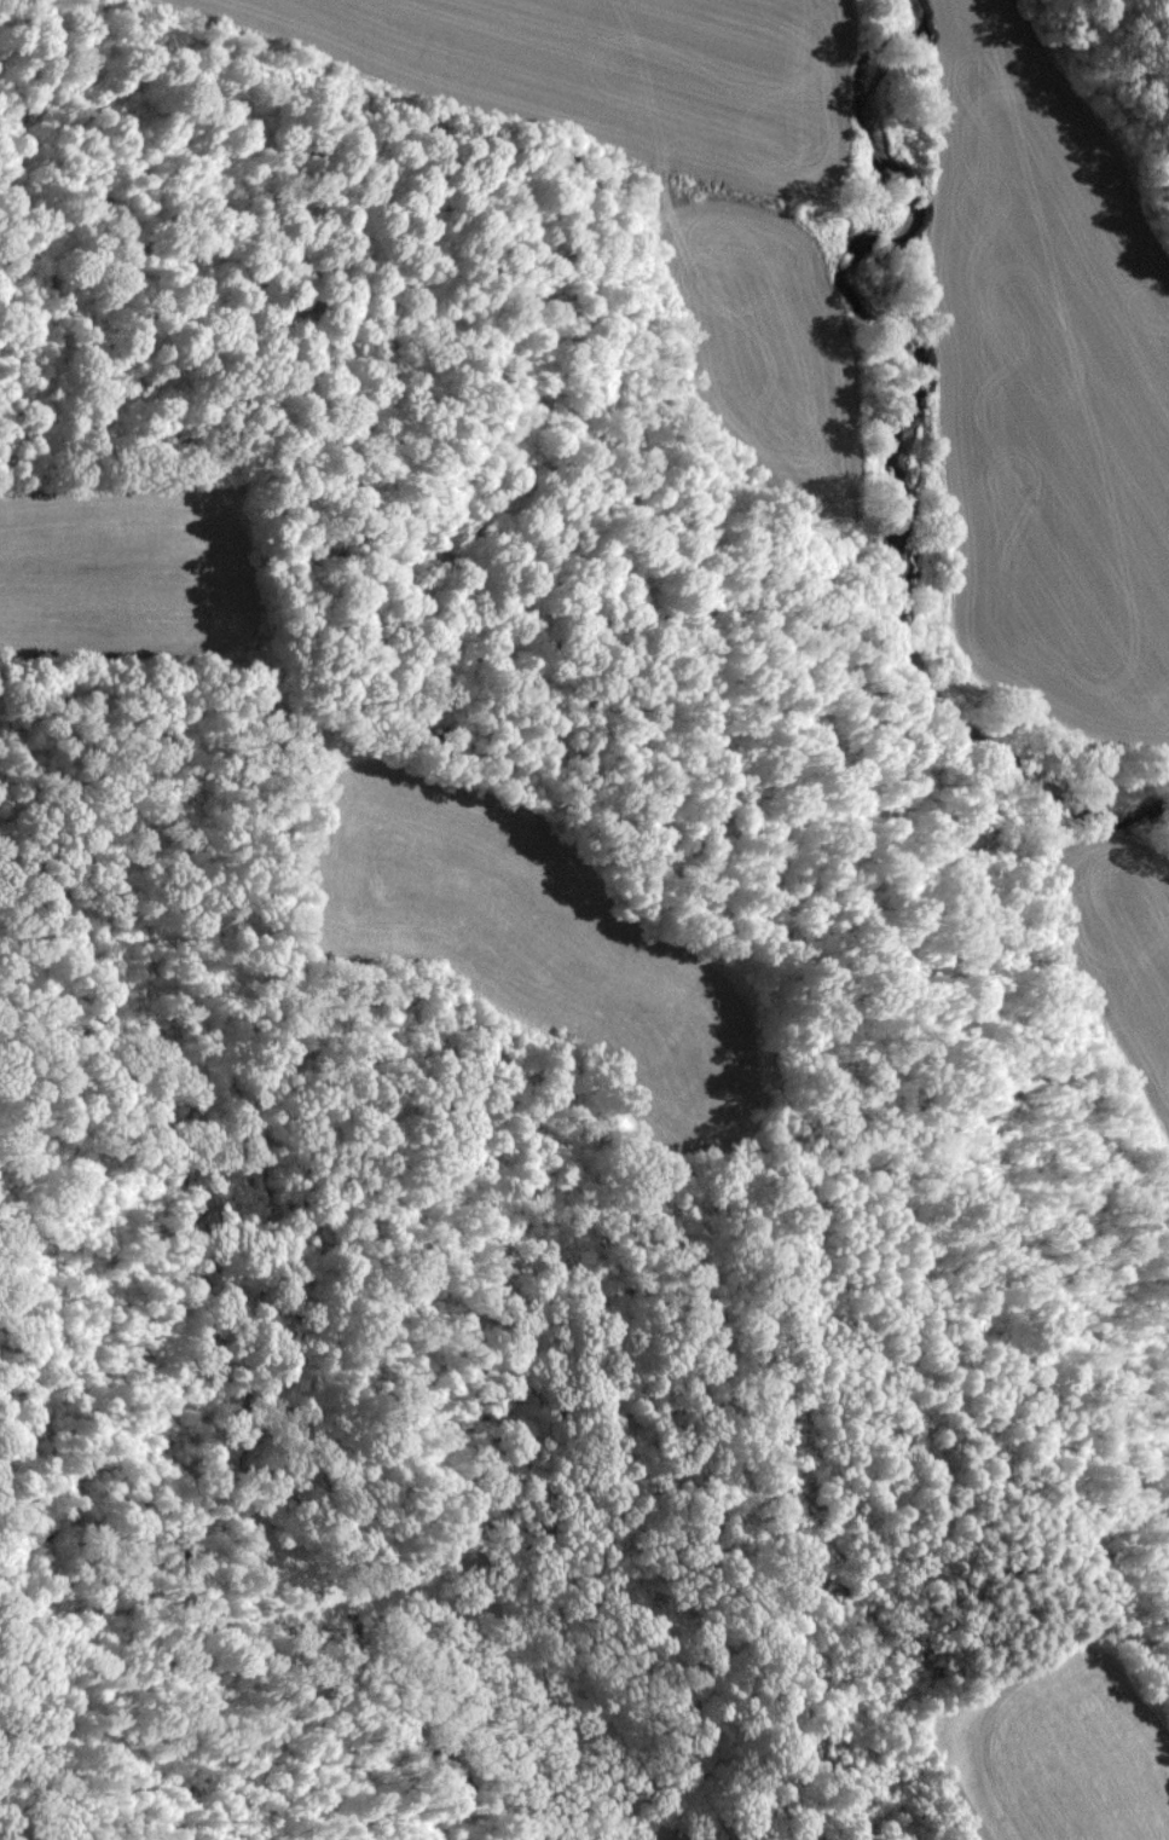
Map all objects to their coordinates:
road: (1011, 1685)

